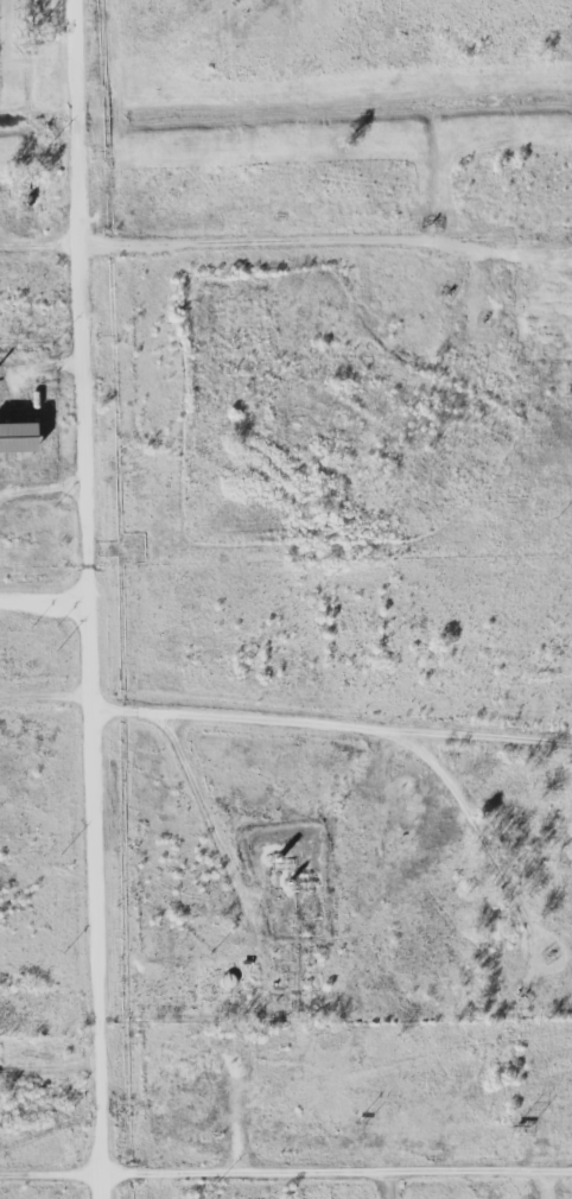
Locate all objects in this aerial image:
road: (286, 252)
petroleum well: (568, 385)
building: (15, 437)
road: (97, 598)
road: (49, 607)
road: (286, 725)
road: (218, 825)
road: (489, 837)
road: (286, 1178)

